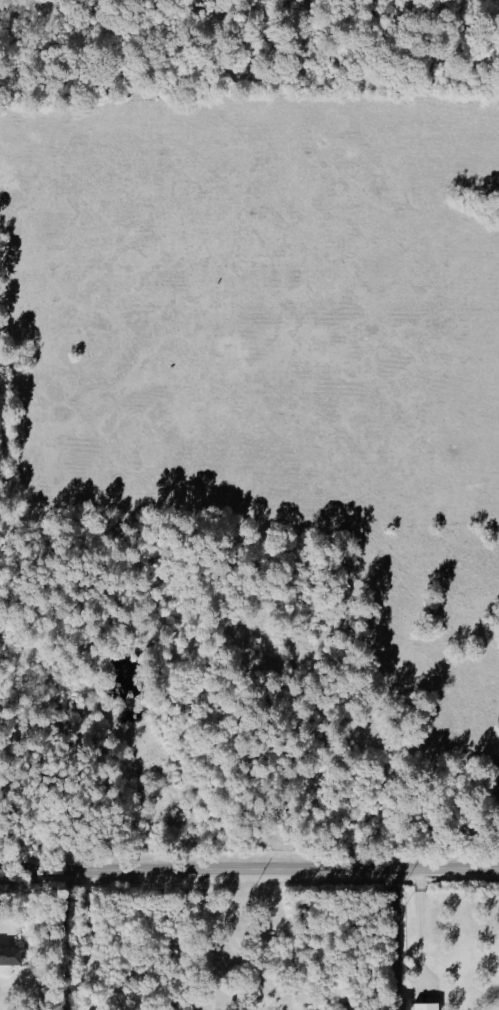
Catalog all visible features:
road: (249, 869)
road: (394, 938)
road: (236, 944)
building: (11, 955)
building: (428, 1006)

